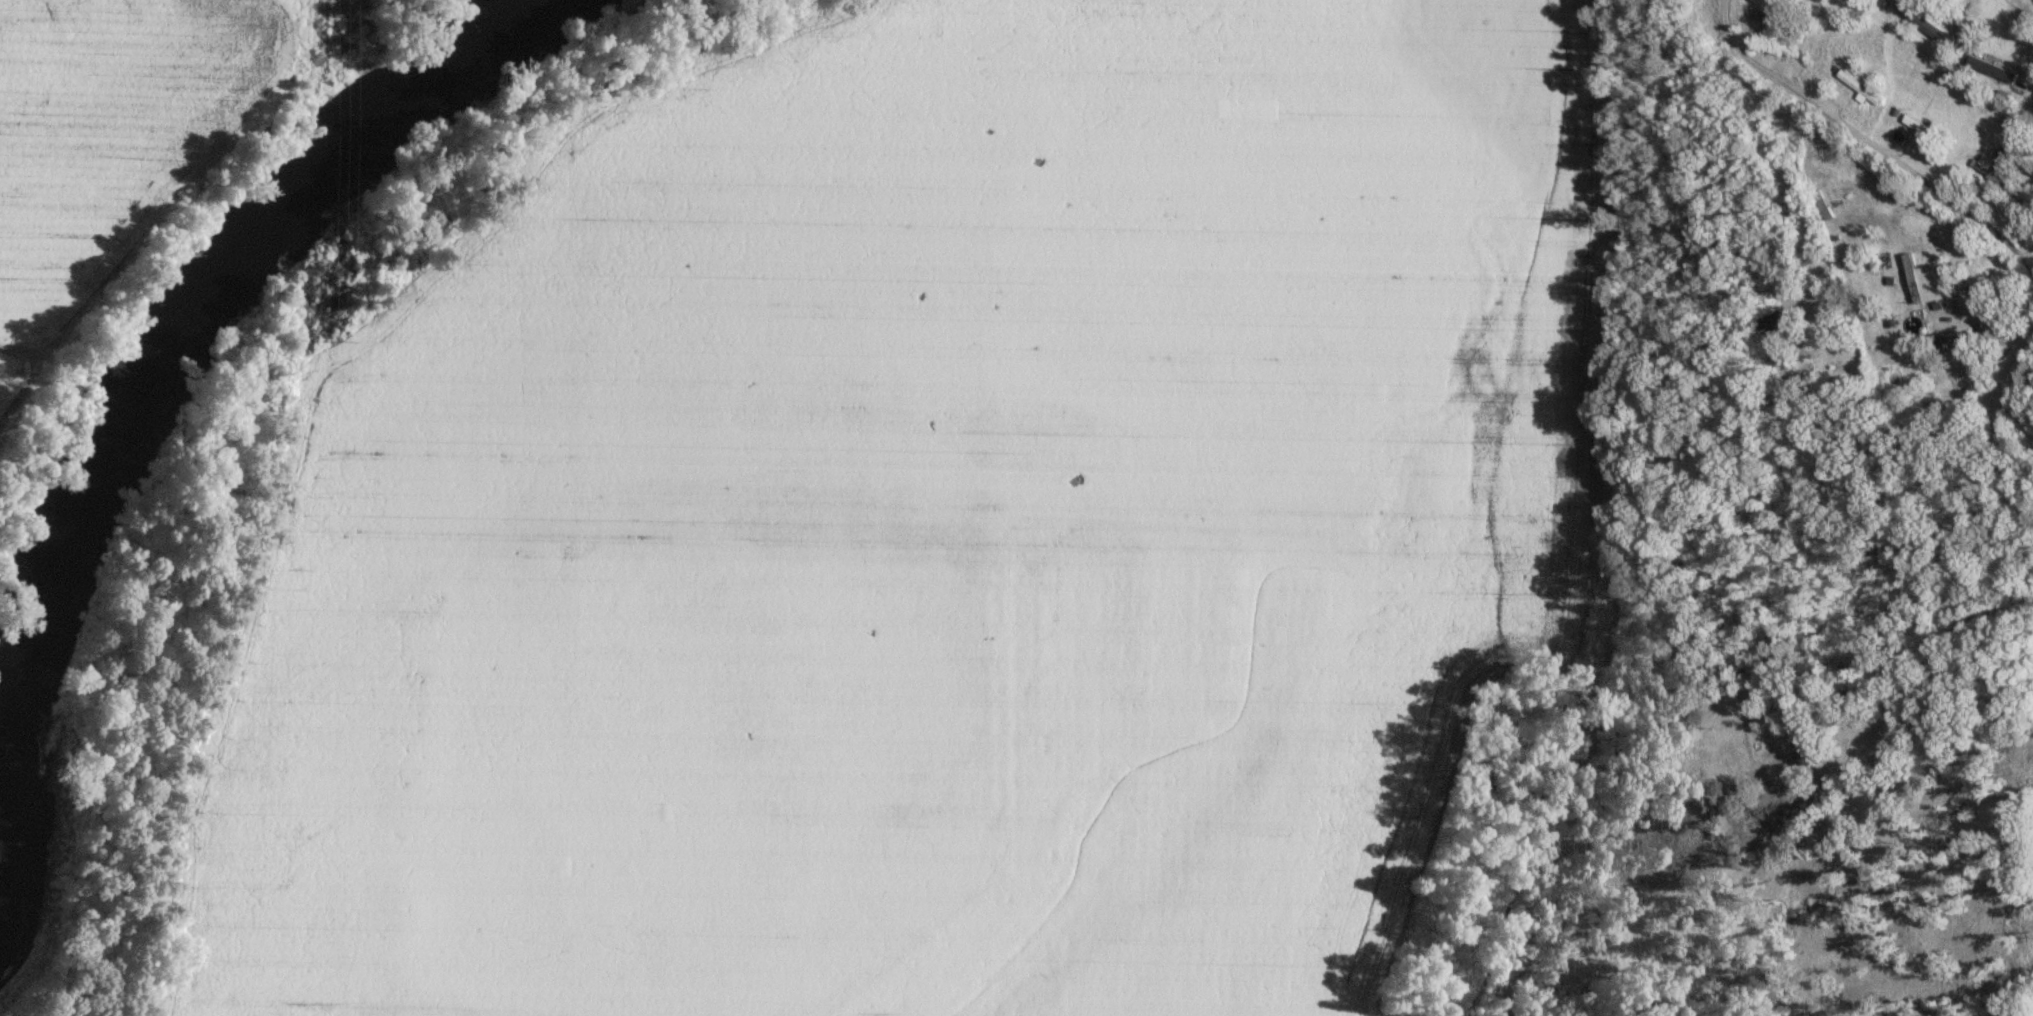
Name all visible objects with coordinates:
building: (1923, 22)
building: (1781, 25)
building: (1994, 68)
building: (1861, 86)
building: (1925, 127)
road: (1867, 142)
building: (1991, 168)
building: (1921, 280)
river: (197, 281)
building: (1779, 324)
road: (1966, 338)
road: (11, 348)
road: (1984, 384)
road: (20, 387)
road: (1872, 405)
road: (1996, 430)
crop: (920, 528)
road: (1939, 646)
building: (1804, 747)

